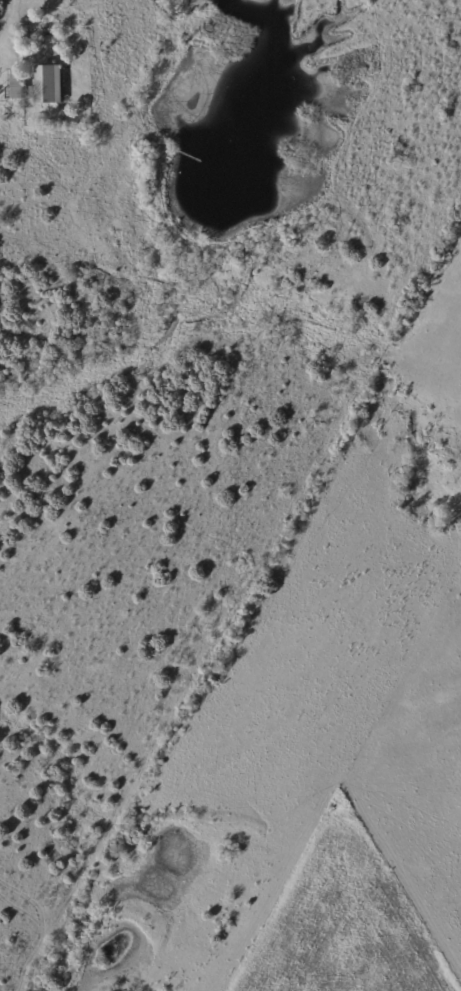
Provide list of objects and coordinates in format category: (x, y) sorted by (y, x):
road: (10, 18)
building: (49, 86)
building: (12, 87)
building: (17, 126)

